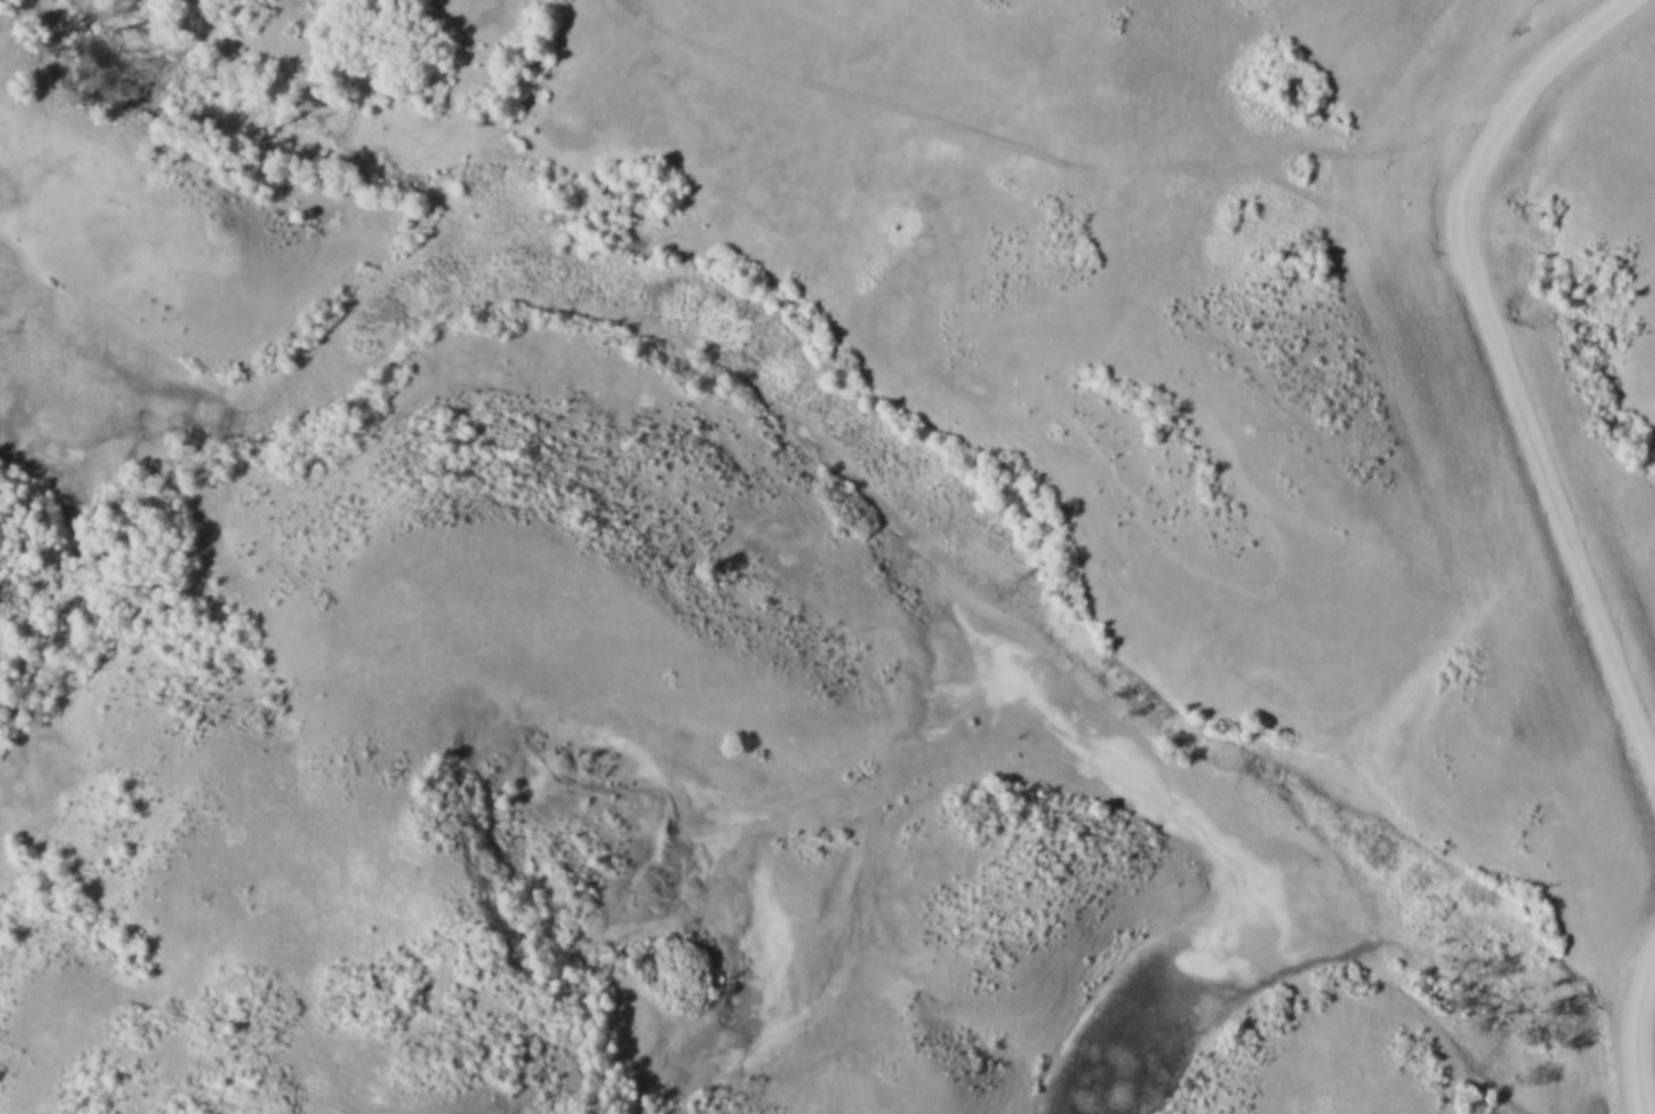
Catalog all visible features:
road: (1499, 374)
road: (1631, 1027)

